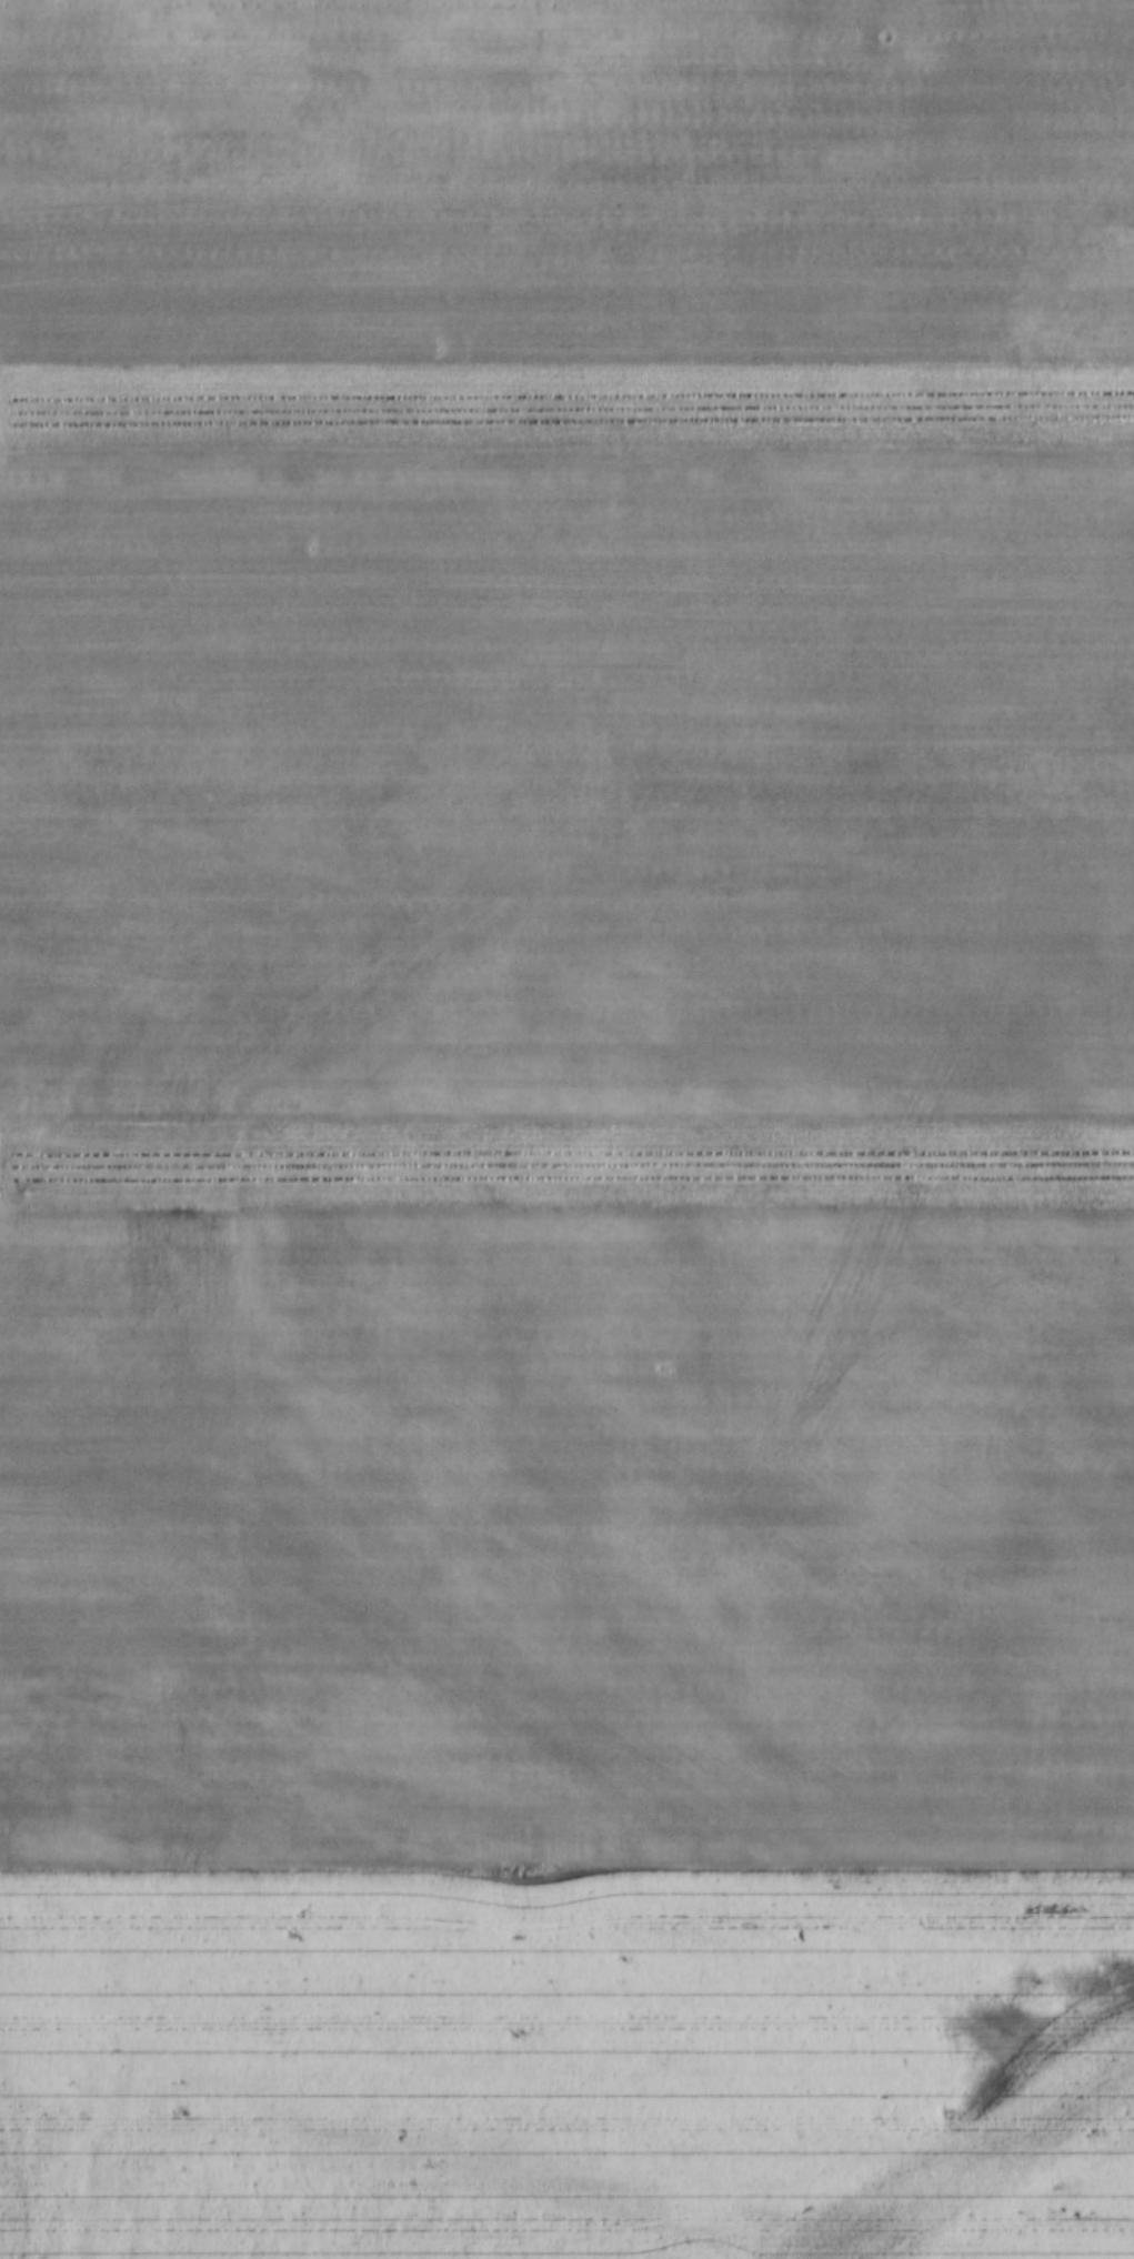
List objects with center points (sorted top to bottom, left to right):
quarry: (505, 538)

